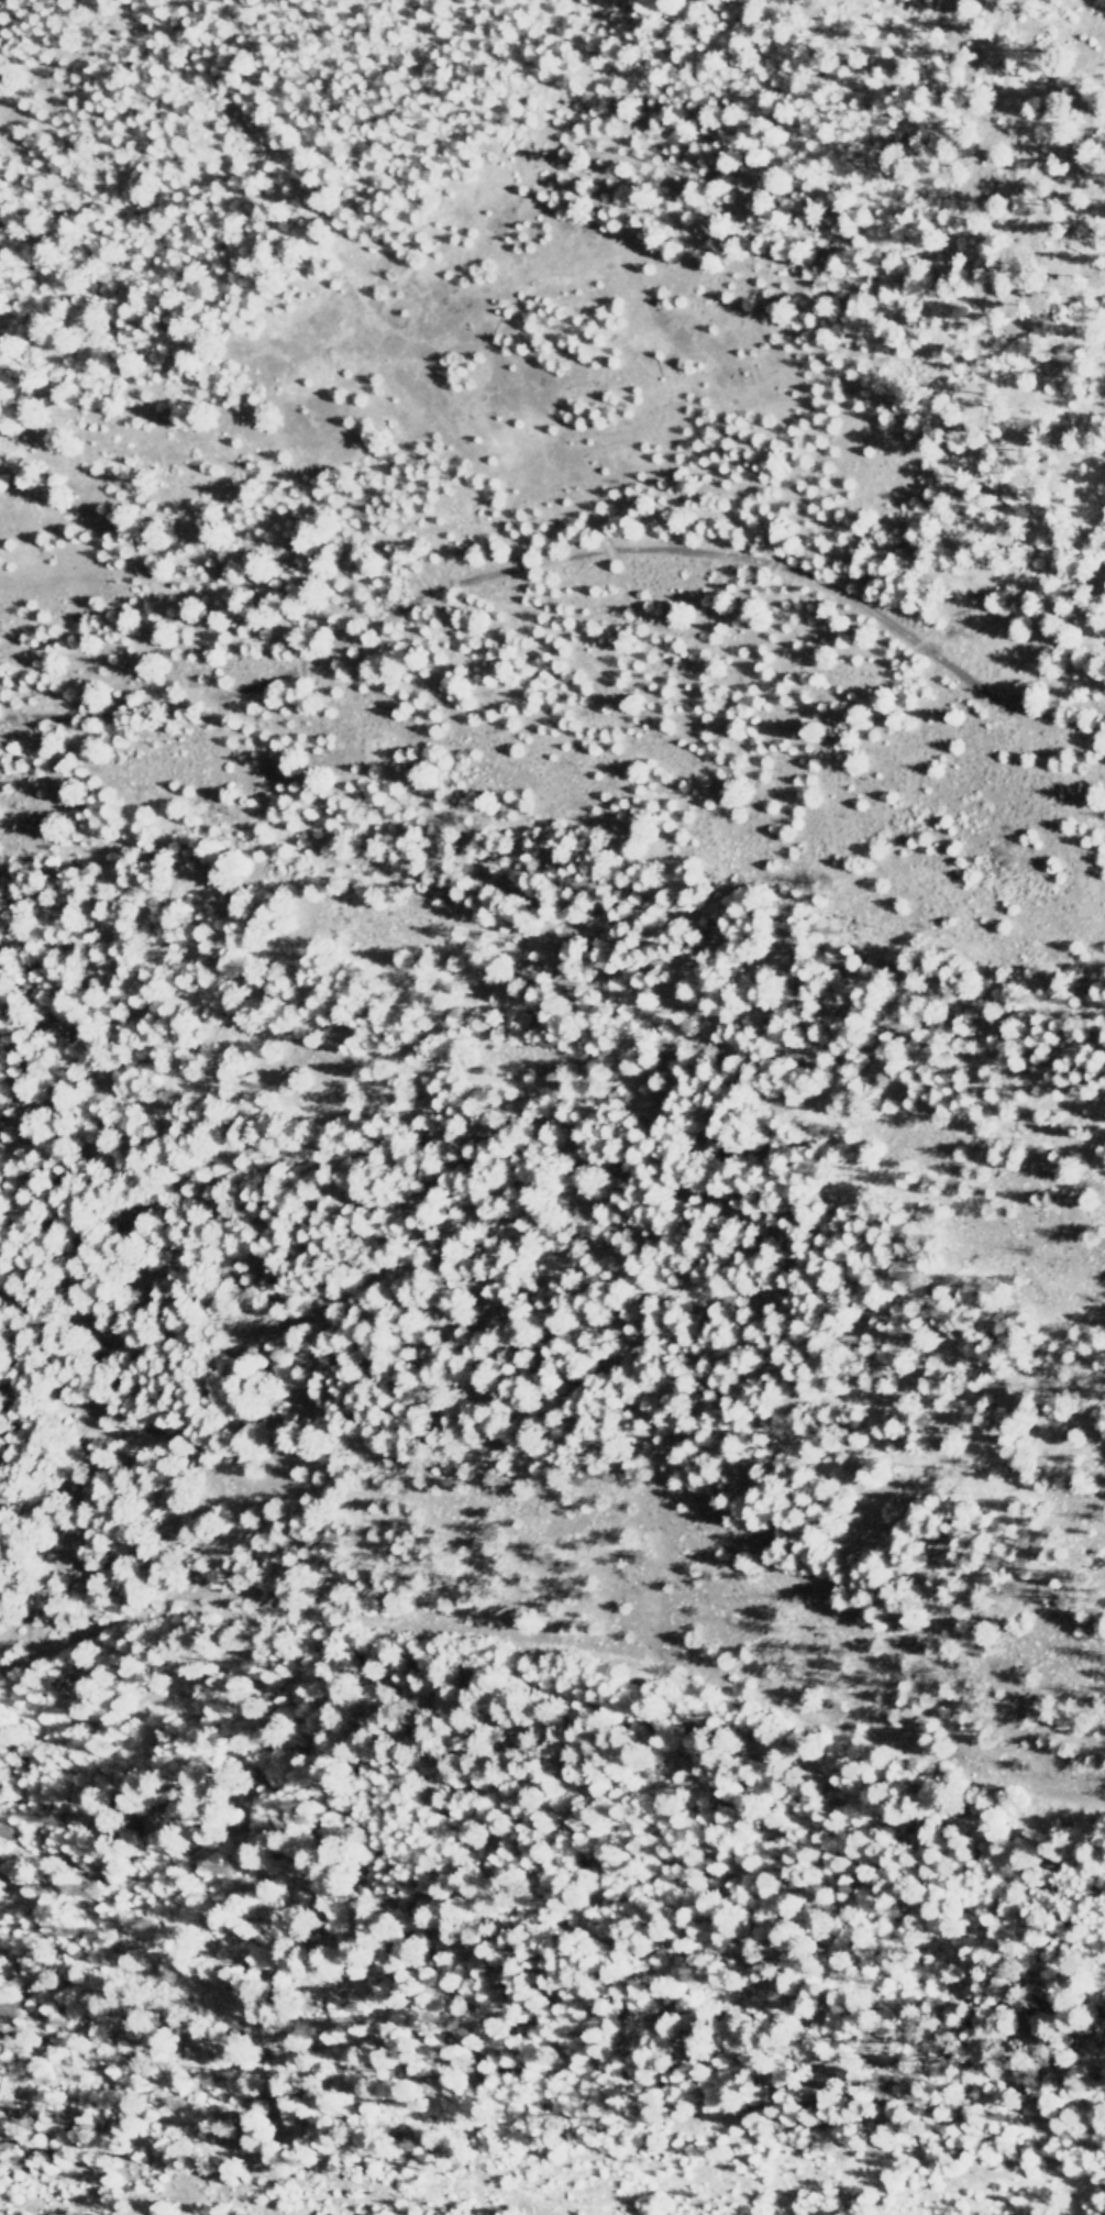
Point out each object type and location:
road: (560, 560)
road: (560, 1642)

